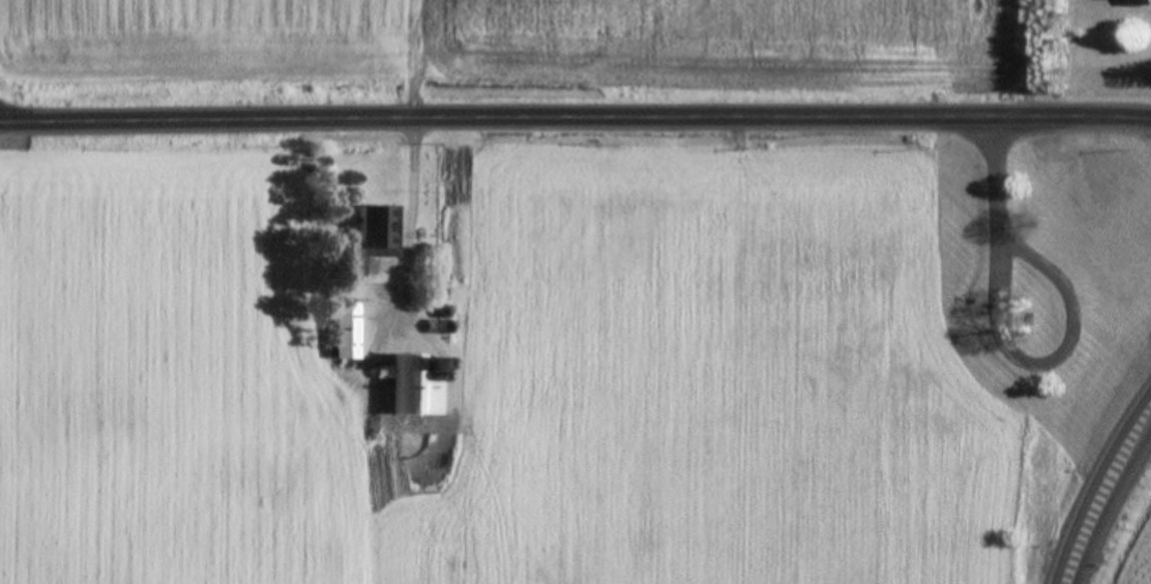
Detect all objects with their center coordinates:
building: (1134, 4)
road: (574, 121)
road: (411, 230)
building: (371, 233)
park: (1015, 284)
building: (342, 334)
road: (1004, 343)
building: (428, 400)
road: (1100, 494)

